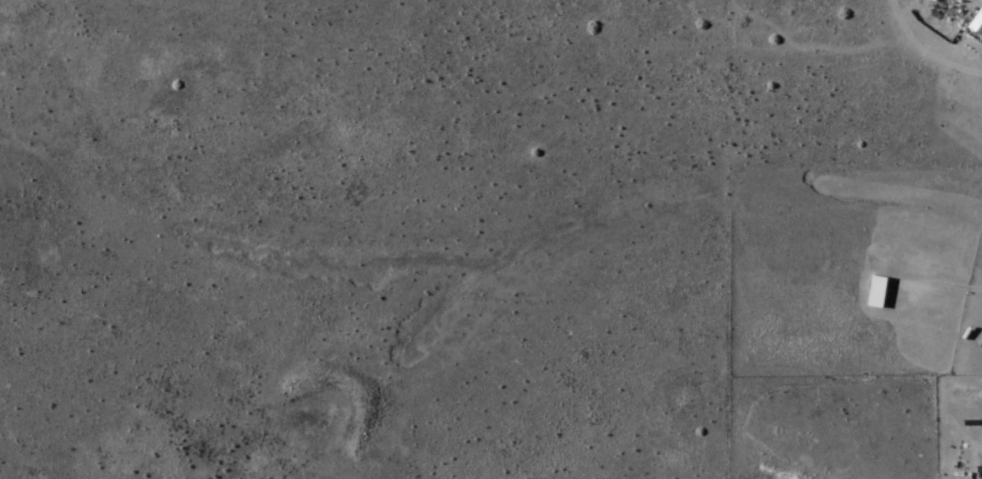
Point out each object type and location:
building: (978, 26)
building: (880, 294)

